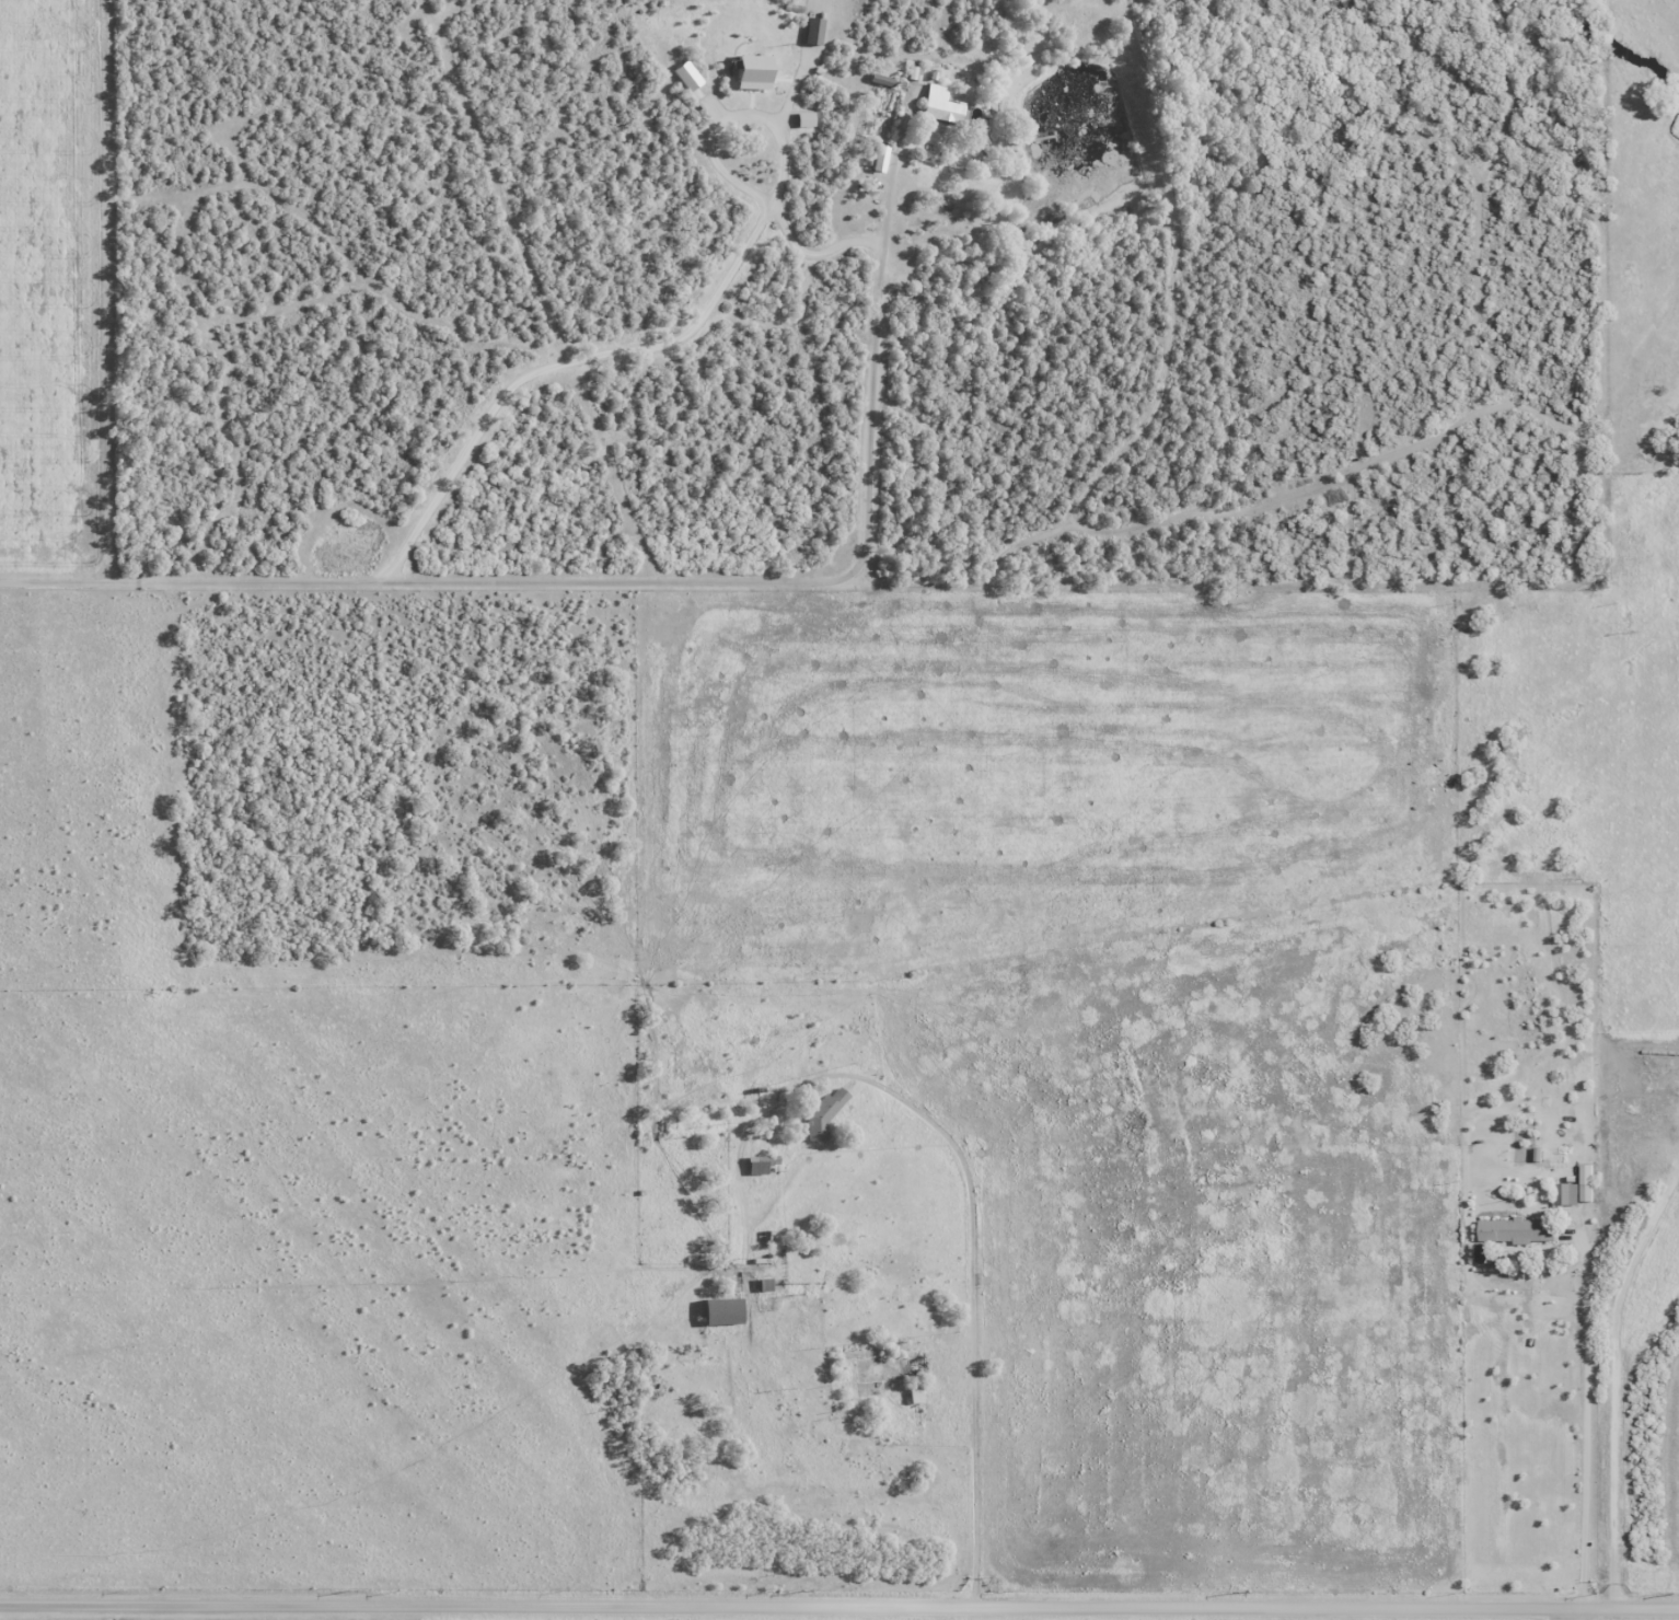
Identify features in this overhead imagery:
building: (942, 107)
building: (880, 159)
road: (727, 277)
road: (639, 580)
building: (759, 1167)
building: (1567, 1194)
building: (1527, 1231)
road: (977, 1255)
building: (725, 1314)
building: (919, 1377)
road: (1585, 1399)
road: (1365, 1461)
road: (1622, 1472)
road: (839, 1607)
road: (1570, 1616)
power tower: (115, 1619)

